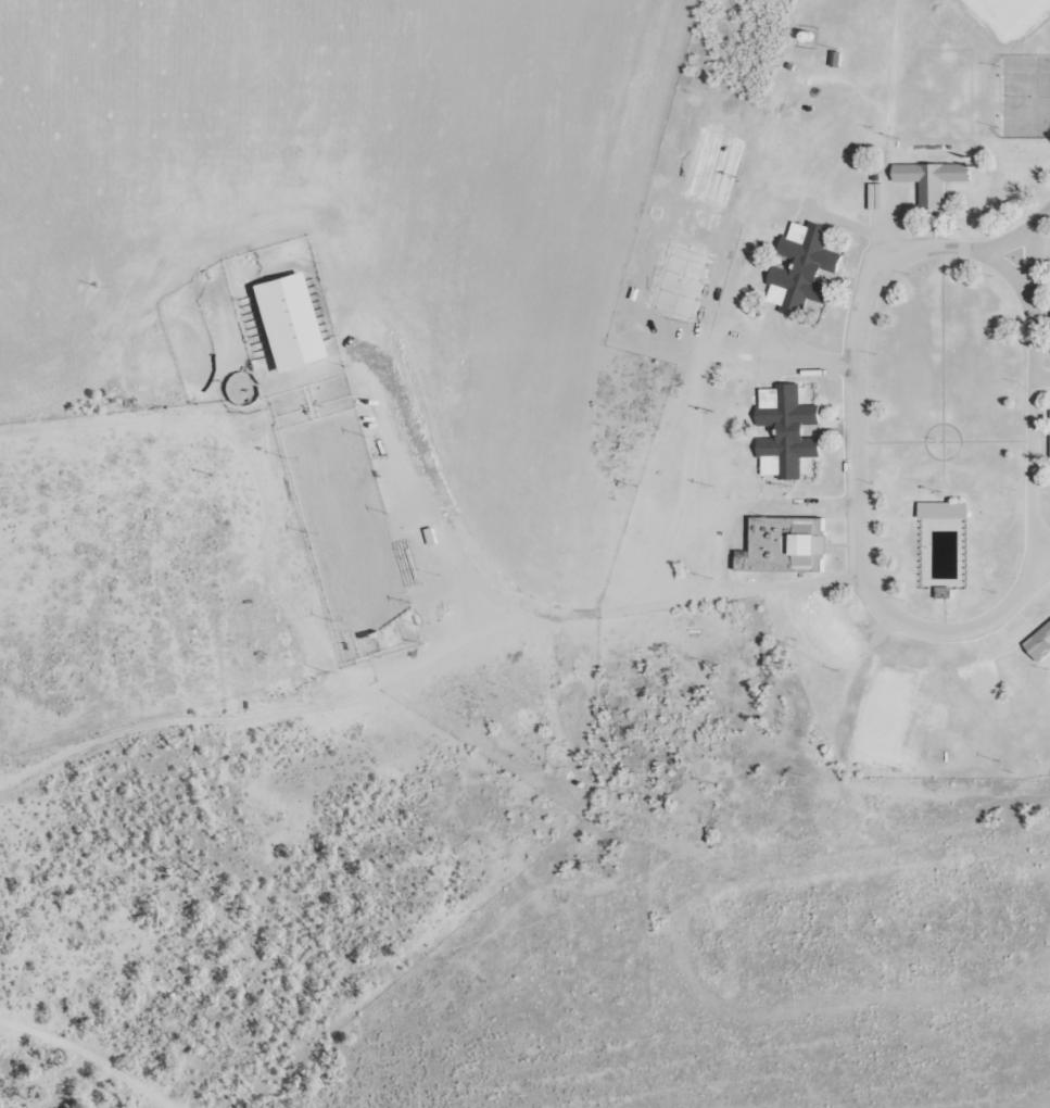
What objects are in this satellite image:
building: (929, 178)
building: (800, 268)
building: (283, 319)
building: (783, 431)
building: (1049, 469)
building: (940, 509)
road: (870, 542)
building: (763, 550)
building: (940, 592)
building: (1038, 642)
road: (435, 702)
road: (68, 1063)

